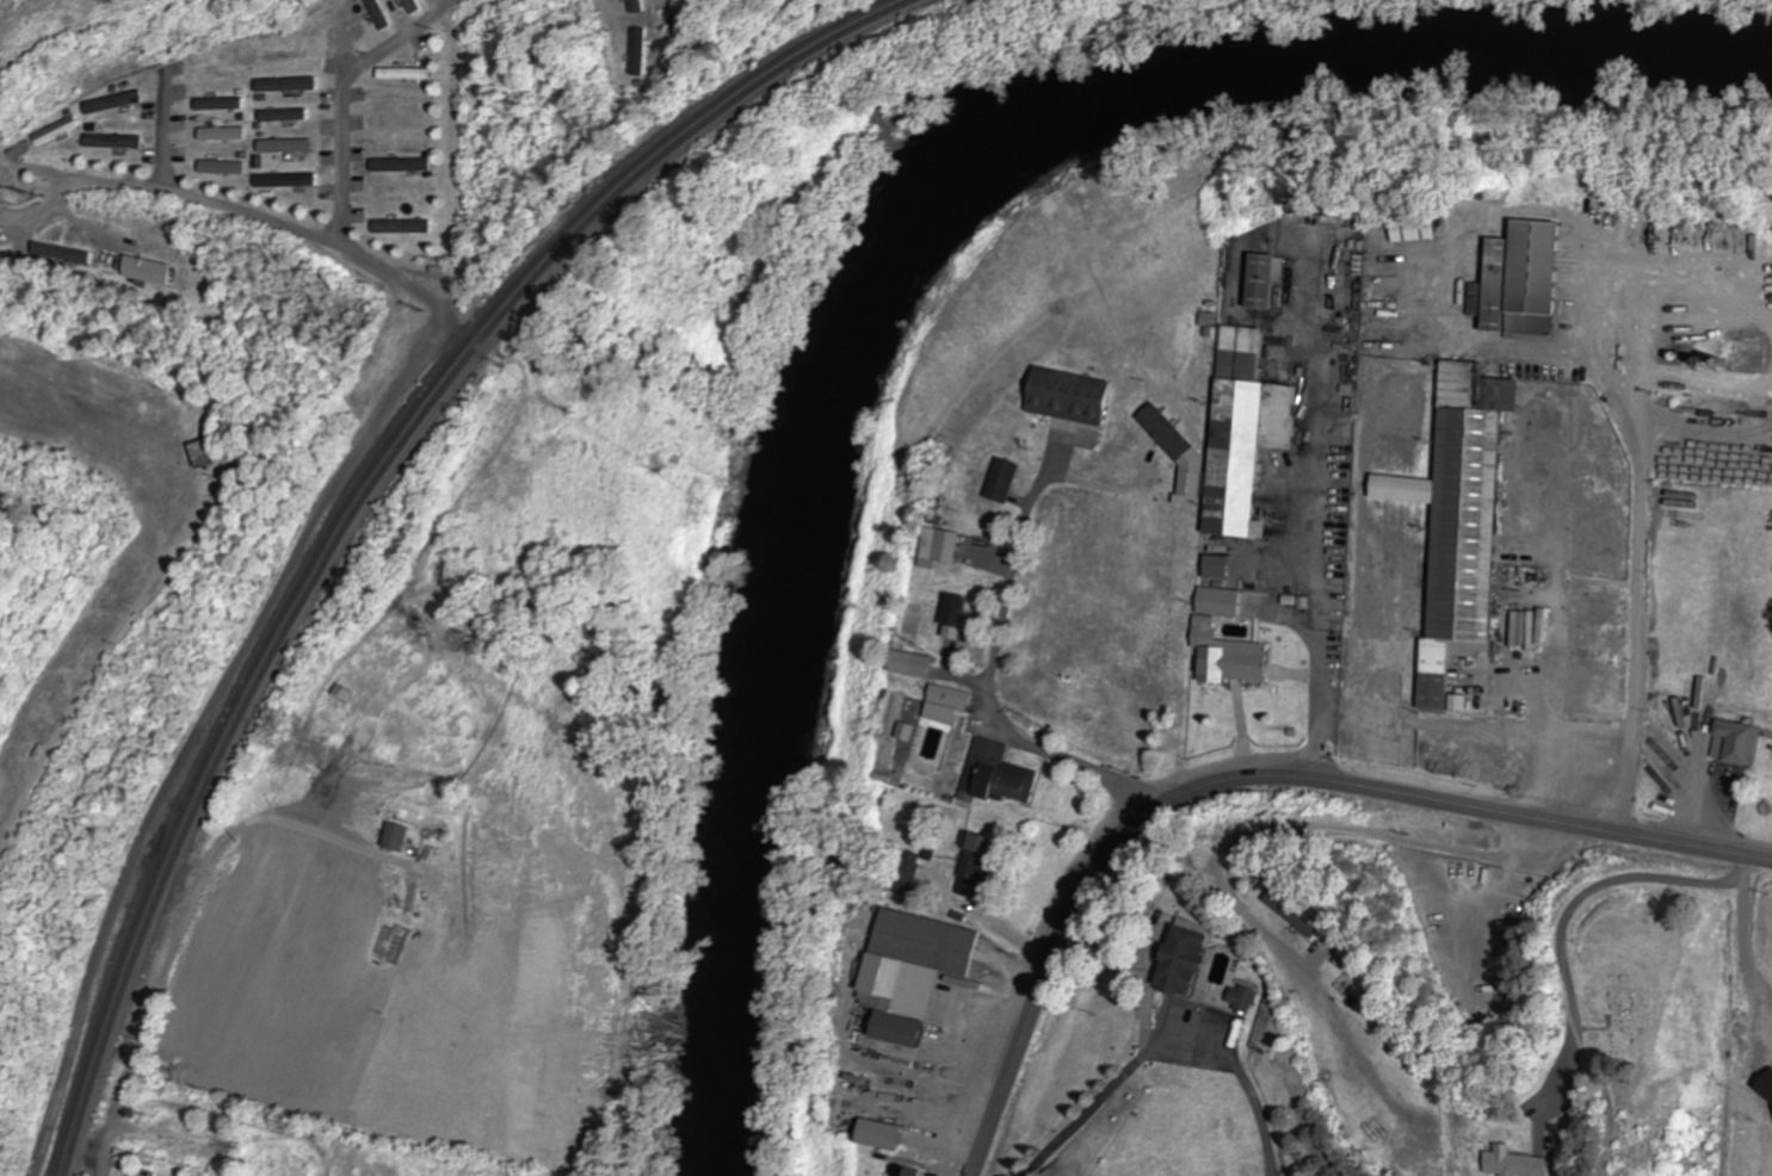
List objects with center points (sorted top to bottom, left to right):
building: (408, 5)
building: (373, 13)
building: (279, 54)
building: (401, 74)
building: (212, 75)
building: (284, 85)
road: (344, 95)
building: (110, 103)
building: (218, 104)
building: (400, 104)
building: (283, 116)
road: (160, 128)
building: (53, 131)
building: (223, 134)
building: (113, 142)
building: (285, 147)
building: (400, 166)
building: (222, 168)
building: (285, 180)
road: (235, 208)
building: (401, 227)
river: (889, 253)
building: (144, 272)
building: (1517, 280)
building: (1257, 281)
building: (1064, 397)
building: (1240, 432)
building: (1000, 482)
railway: (368, 496)
road: (425, 499)
railway: (352, 501)
building: (1453, 520)
building: (937, 545)
building: (1211, 568)
building: (951, 617)
building: (1218, 643)
road: (1320, 649)
building: (906, 664)
building: (339, 694)
road: (988, 697)
building: (944, 705)
road: (191, 724)
building: (1729, 744)
building: (994, 775)
road: (1252, 778)
building: (415, 821)
building: (390, 837)
road: (1464, 860)
building: (970, 867)
building: (908, 874)
road: (1504, 883)
road: (202, 884)
building: (1280, 909)
building: (1175, 961)
building: (908, 972)
road: (1161, 1052)
building: (875, 1137)
building: (167, 1147)
building: (1506, 1164)
building: (277, 1172)
building: (908, 1172)

